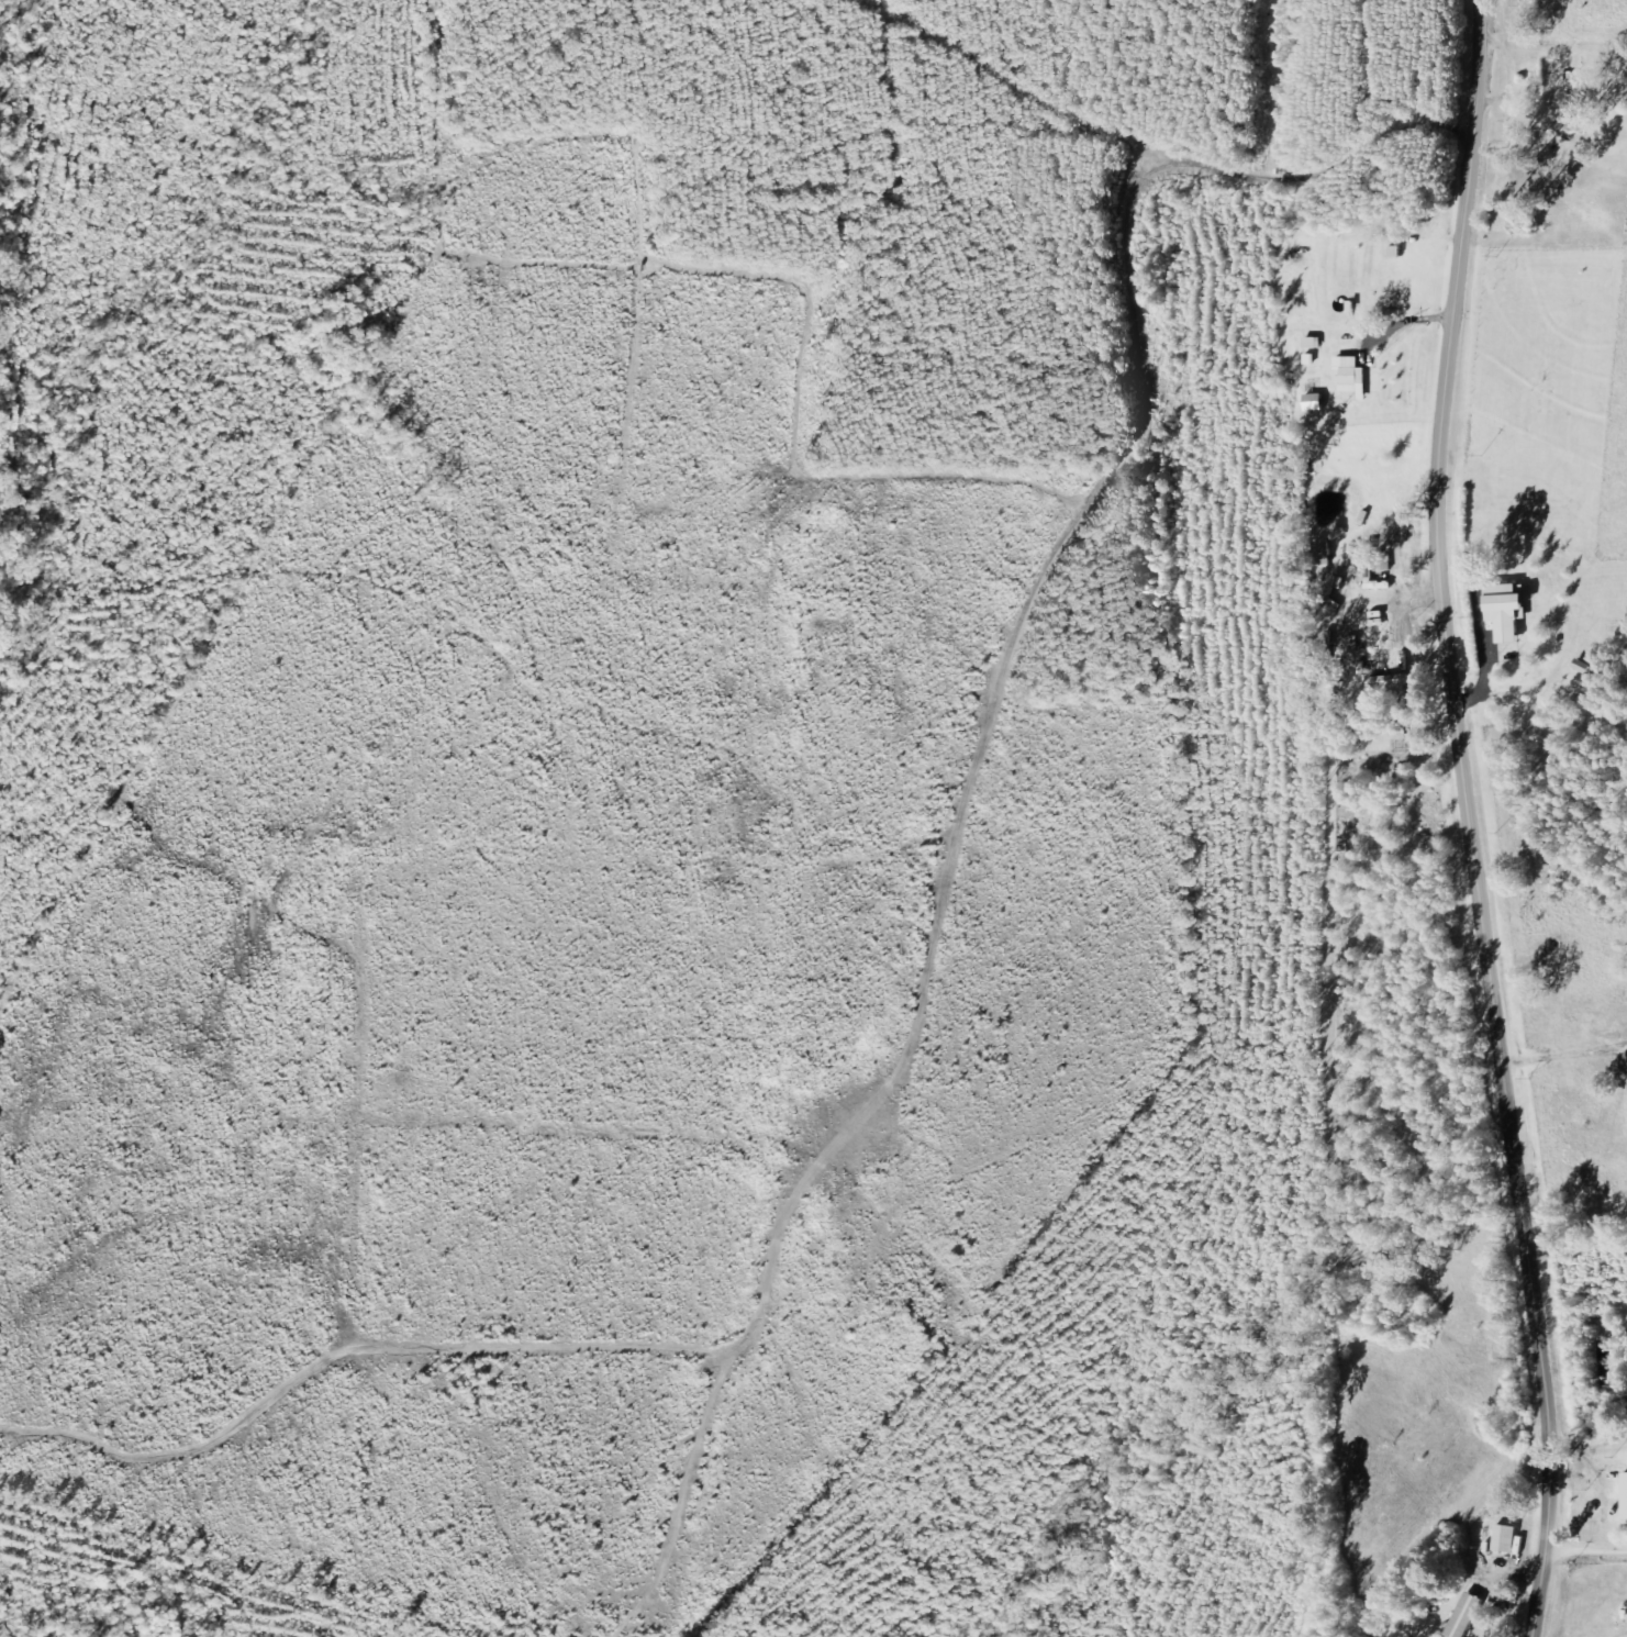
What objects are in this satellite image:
building: (1579, 92)
building: (1568, 129)
building: (1352, 378)
building: (1385, 564)
building: (1511, 611)
building: (1391, 683)
road: (1469, 820)
road: (1586, 1530)
building: (1468, 1616)

